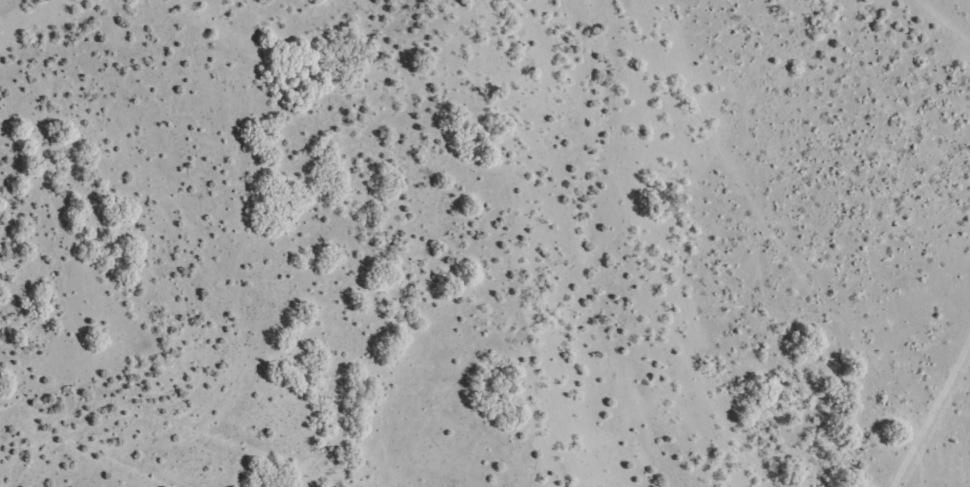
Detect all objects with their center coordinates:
road: (956, 17)
road: (938, 430)

